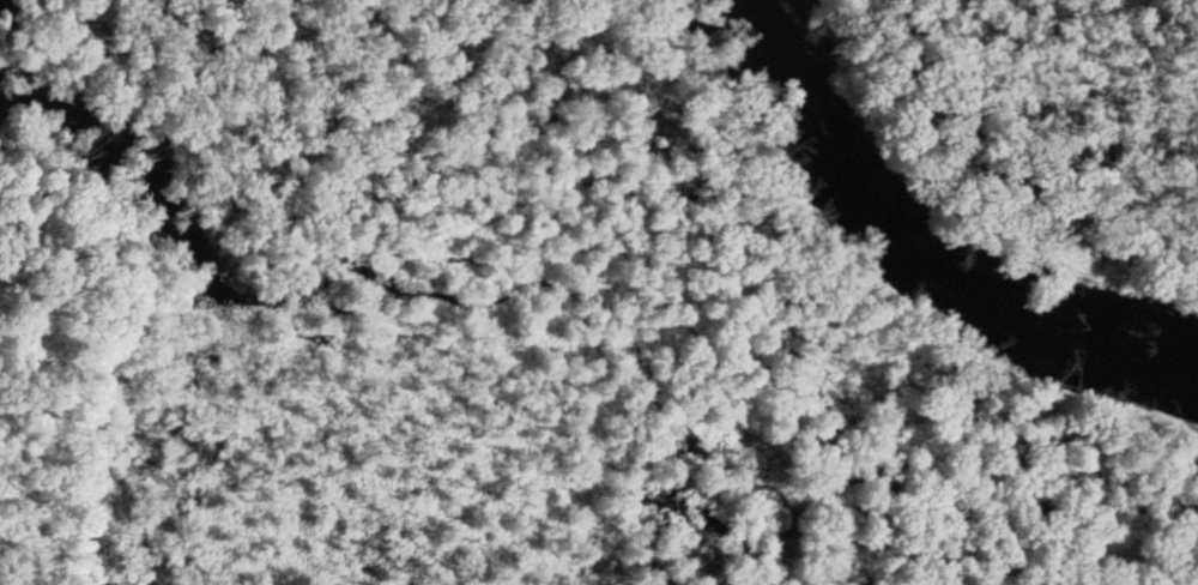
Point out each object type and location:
river: (928, 247)

